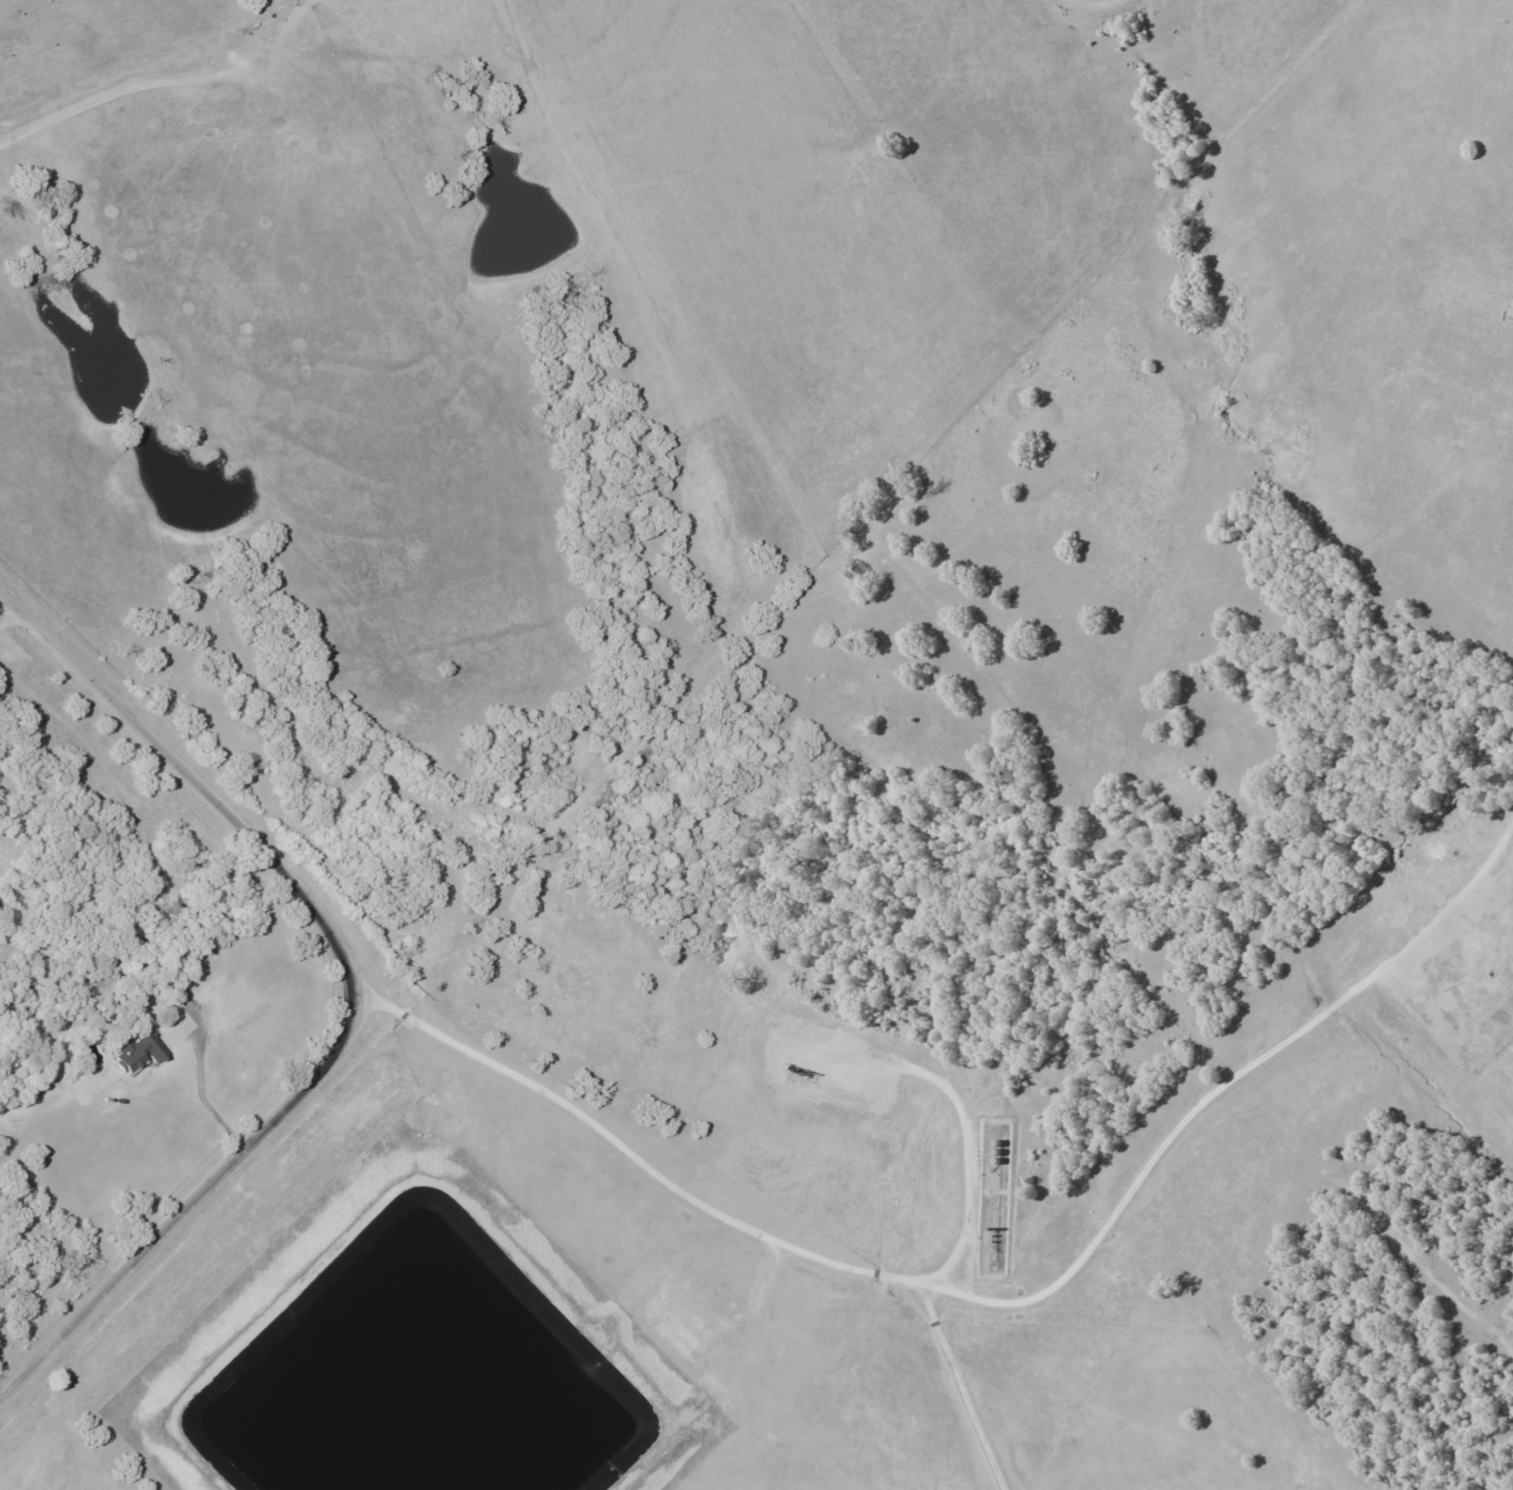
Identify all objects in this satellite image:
petroleum well: (1505, 960)
road: (358, 995)
building: (136, 1053)
petroleum well: (805, 1073)
road: (206, 1095)
road: (81, 1430)

